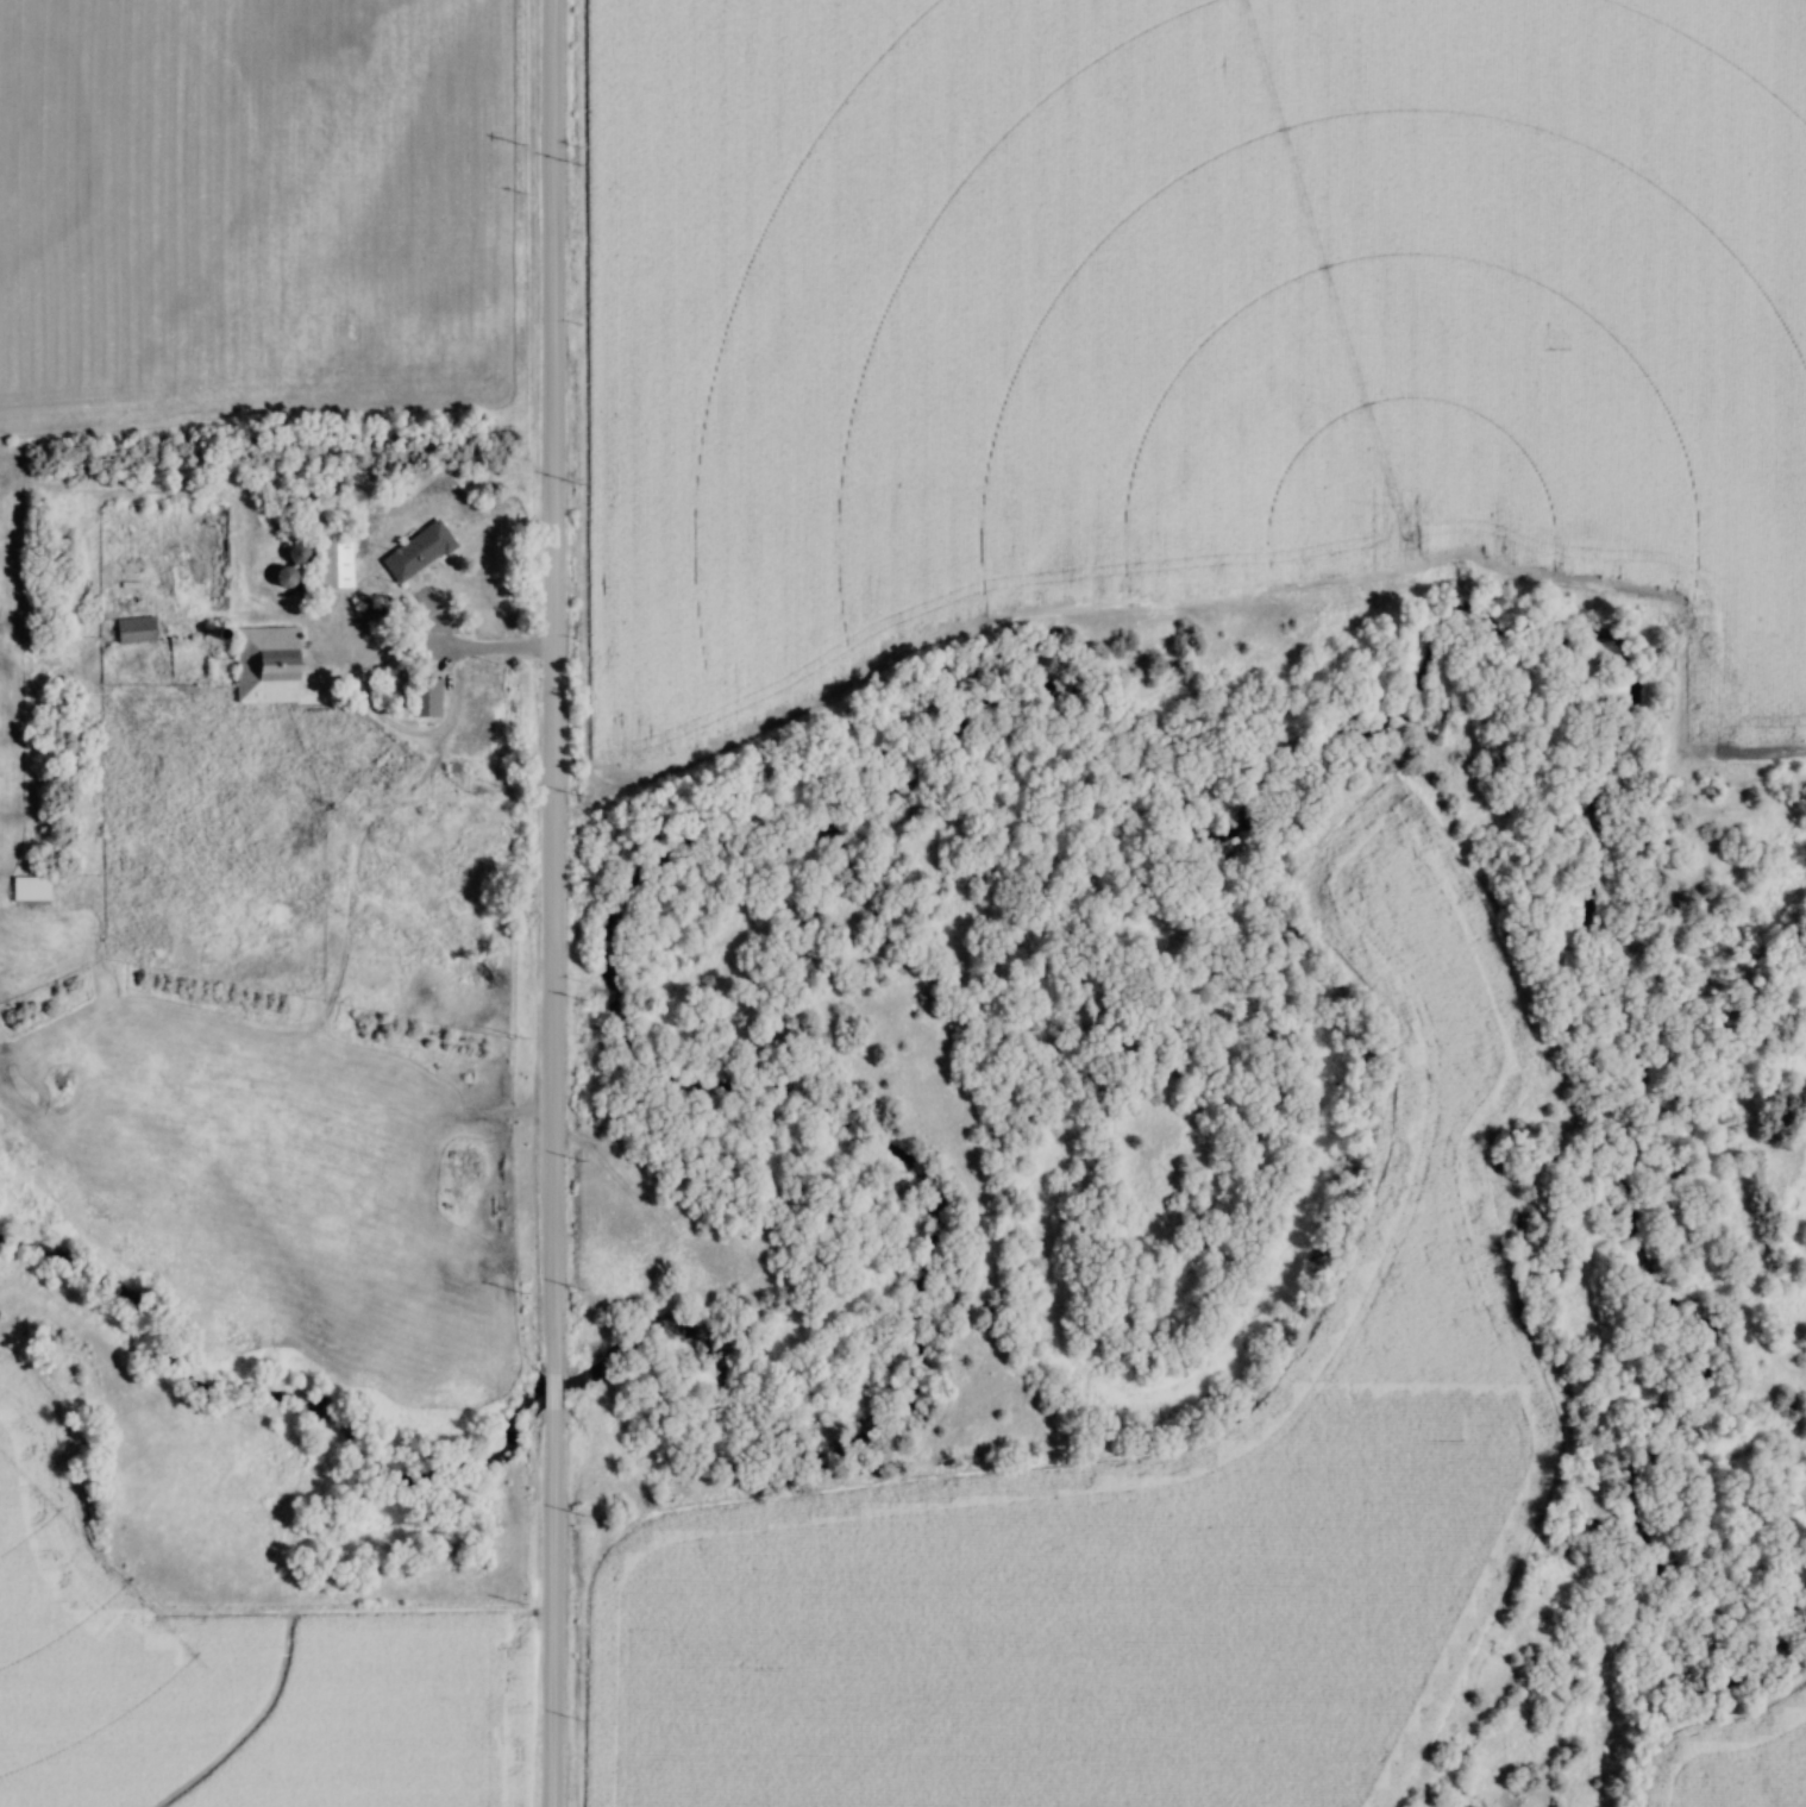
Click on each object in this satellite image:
crop: (258, 201)
crop: (1183, 312)
building: (414, 553)
building: (294, 554)
building: (331, 565)
building: (131, 630)
road: (456, 642)
building: (262, 666)
building: (420, 699)
building: (26, 890)
road: (559, 903)

